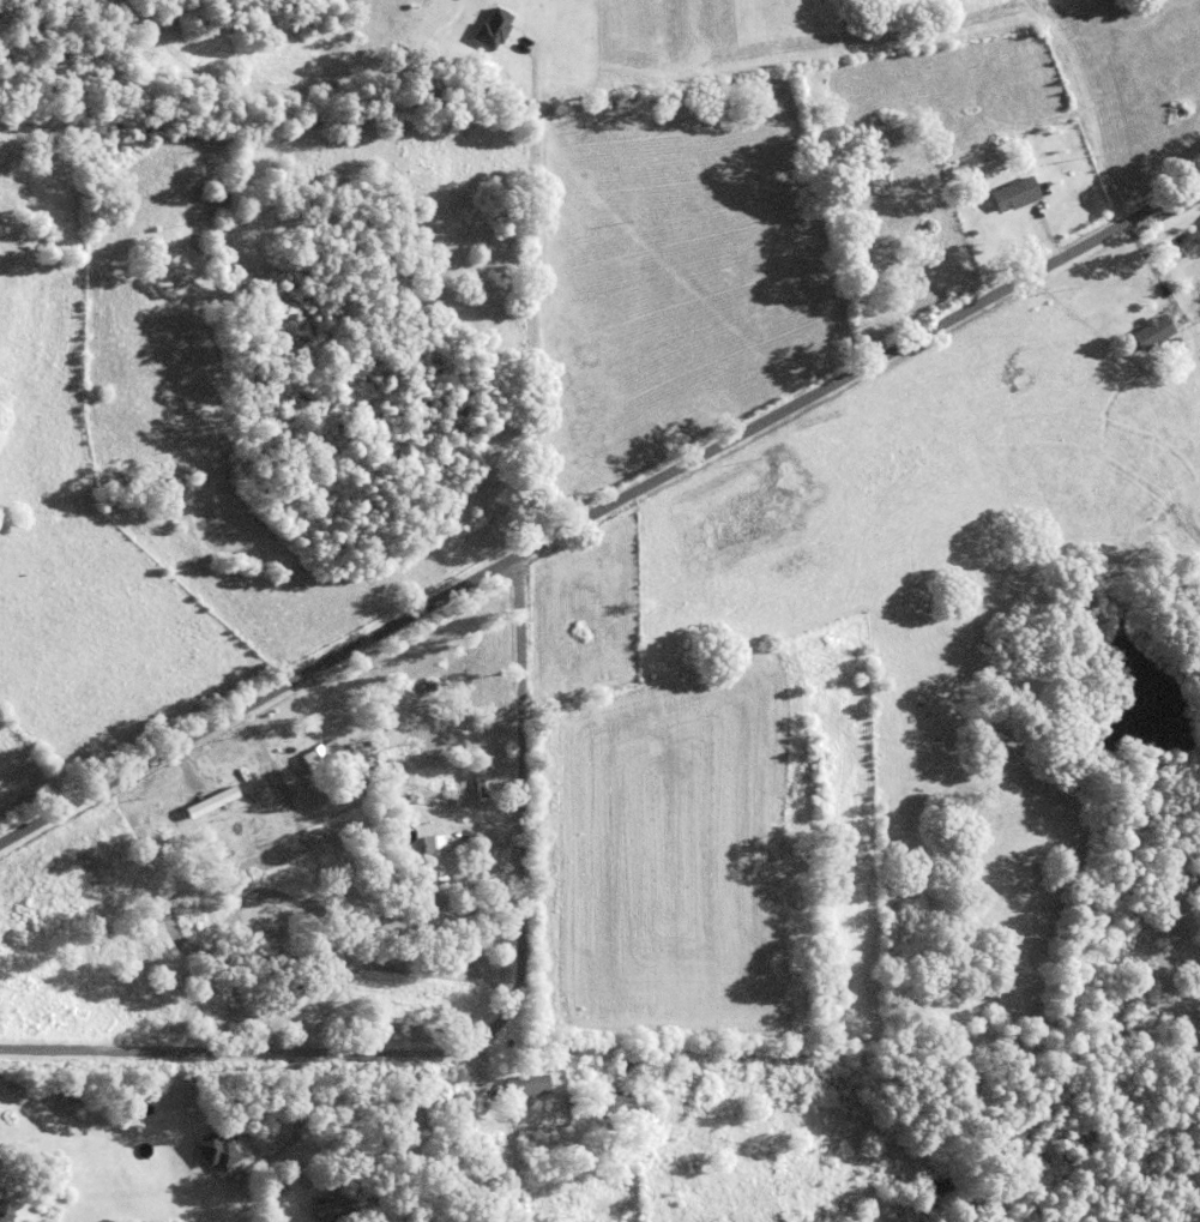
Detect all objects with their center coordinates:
building: (492, 28)
building: (188, 130)
building: (995, 153)
building: (1017, 192)
building: (1170, 222)
building: (930, 223)
building: (1192, 242)
building: (1195, 265)
building: (1154, 330)
building: (1175, 341)
road: (598, 511)
building: (429, 685)
building: (344, 744)
building: (322, 754)
building: (363, 778)
building: (210, 800)
building: (435, 855)
building: (451, 860)
road: (484, 1033)
building: (631, 1060)
building: (527, 1084)
building: (572, 1098)
building: (616, 1103)
building: (541, 1112)
building: (195, 1120)
building: (211, 1148)
building: (330, 1208)
building: (5, 1210)

